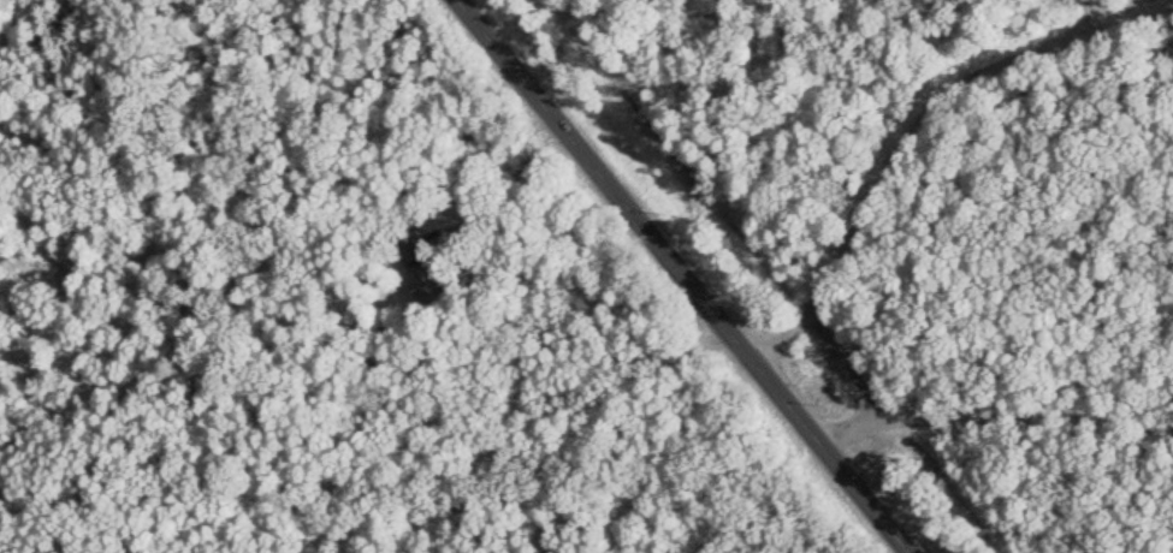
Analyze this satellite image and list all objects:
road: (683, 276)

